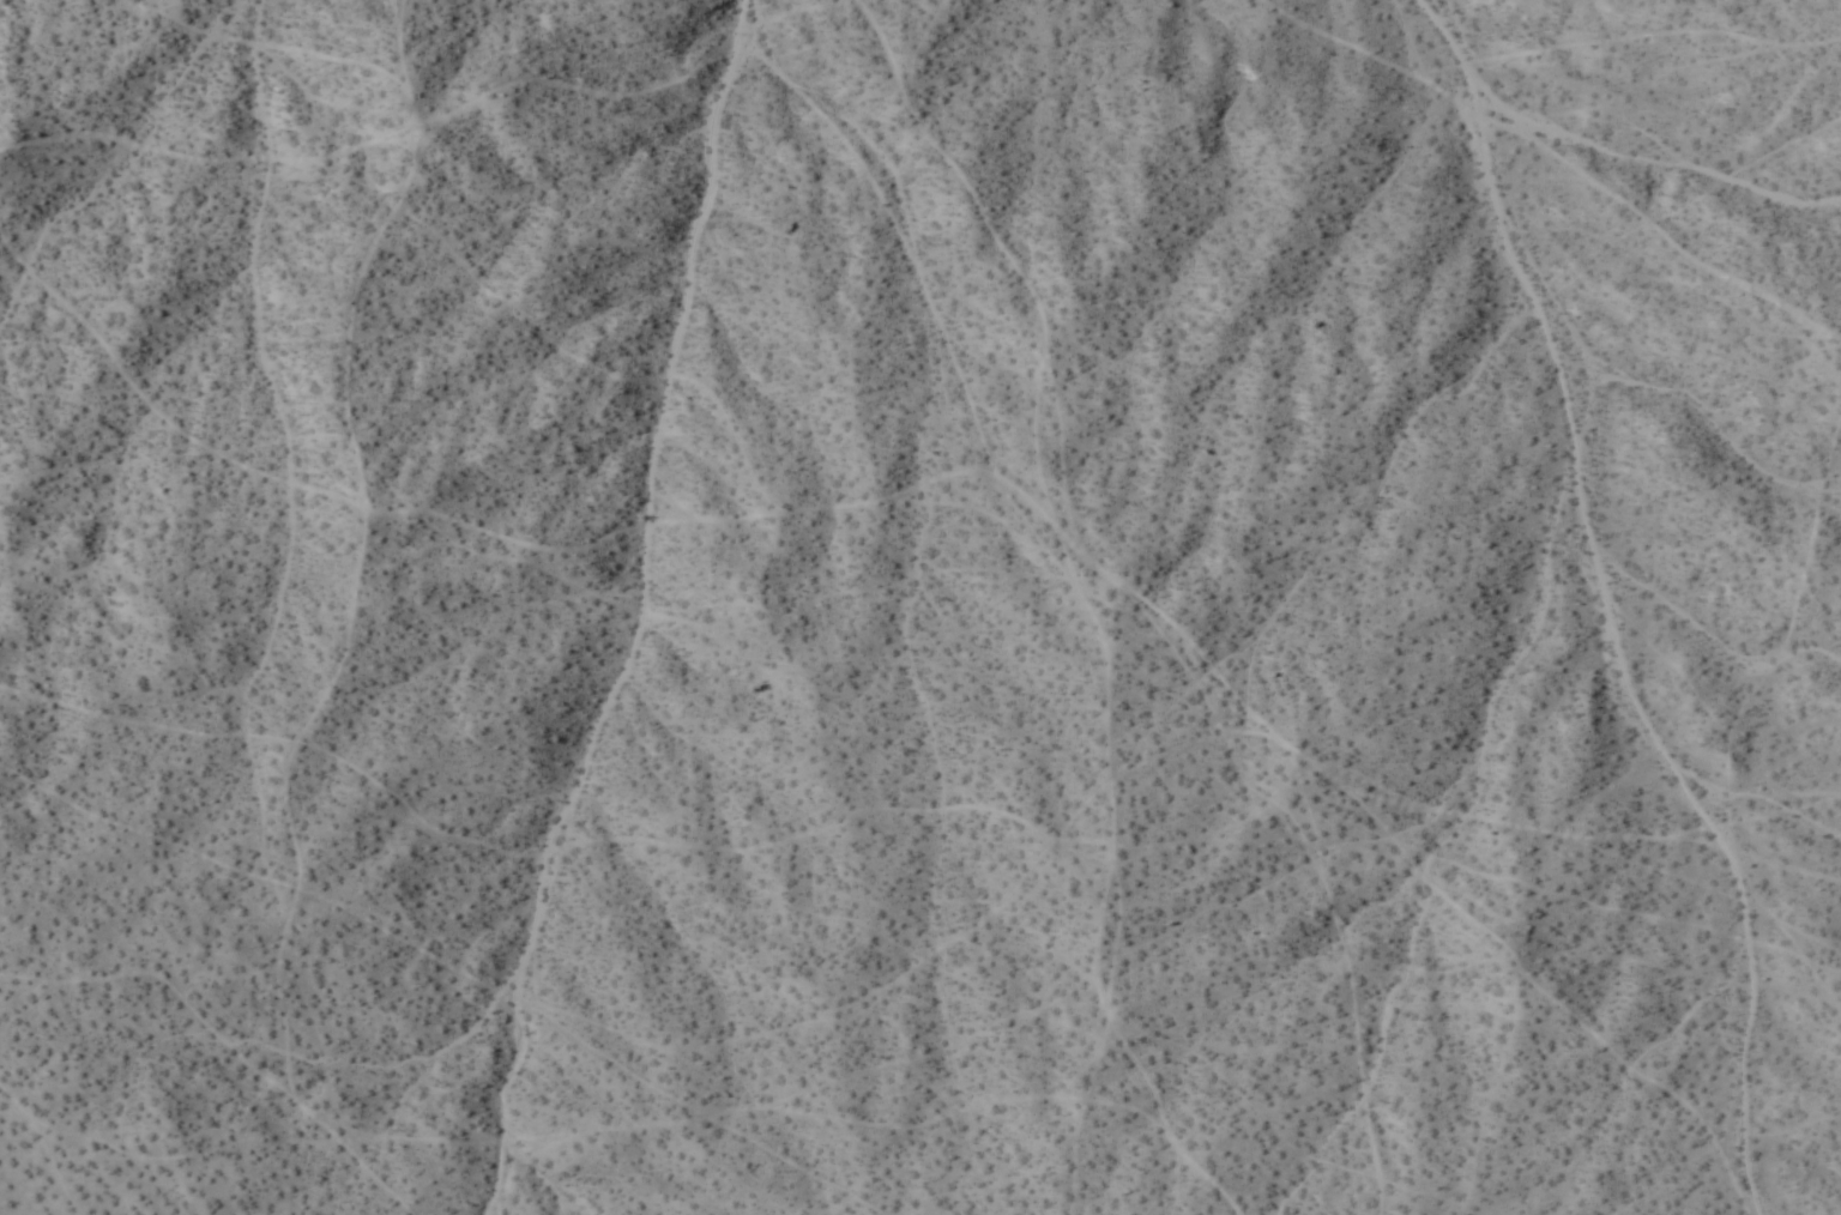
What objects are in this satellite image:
crop: (920, 607)

